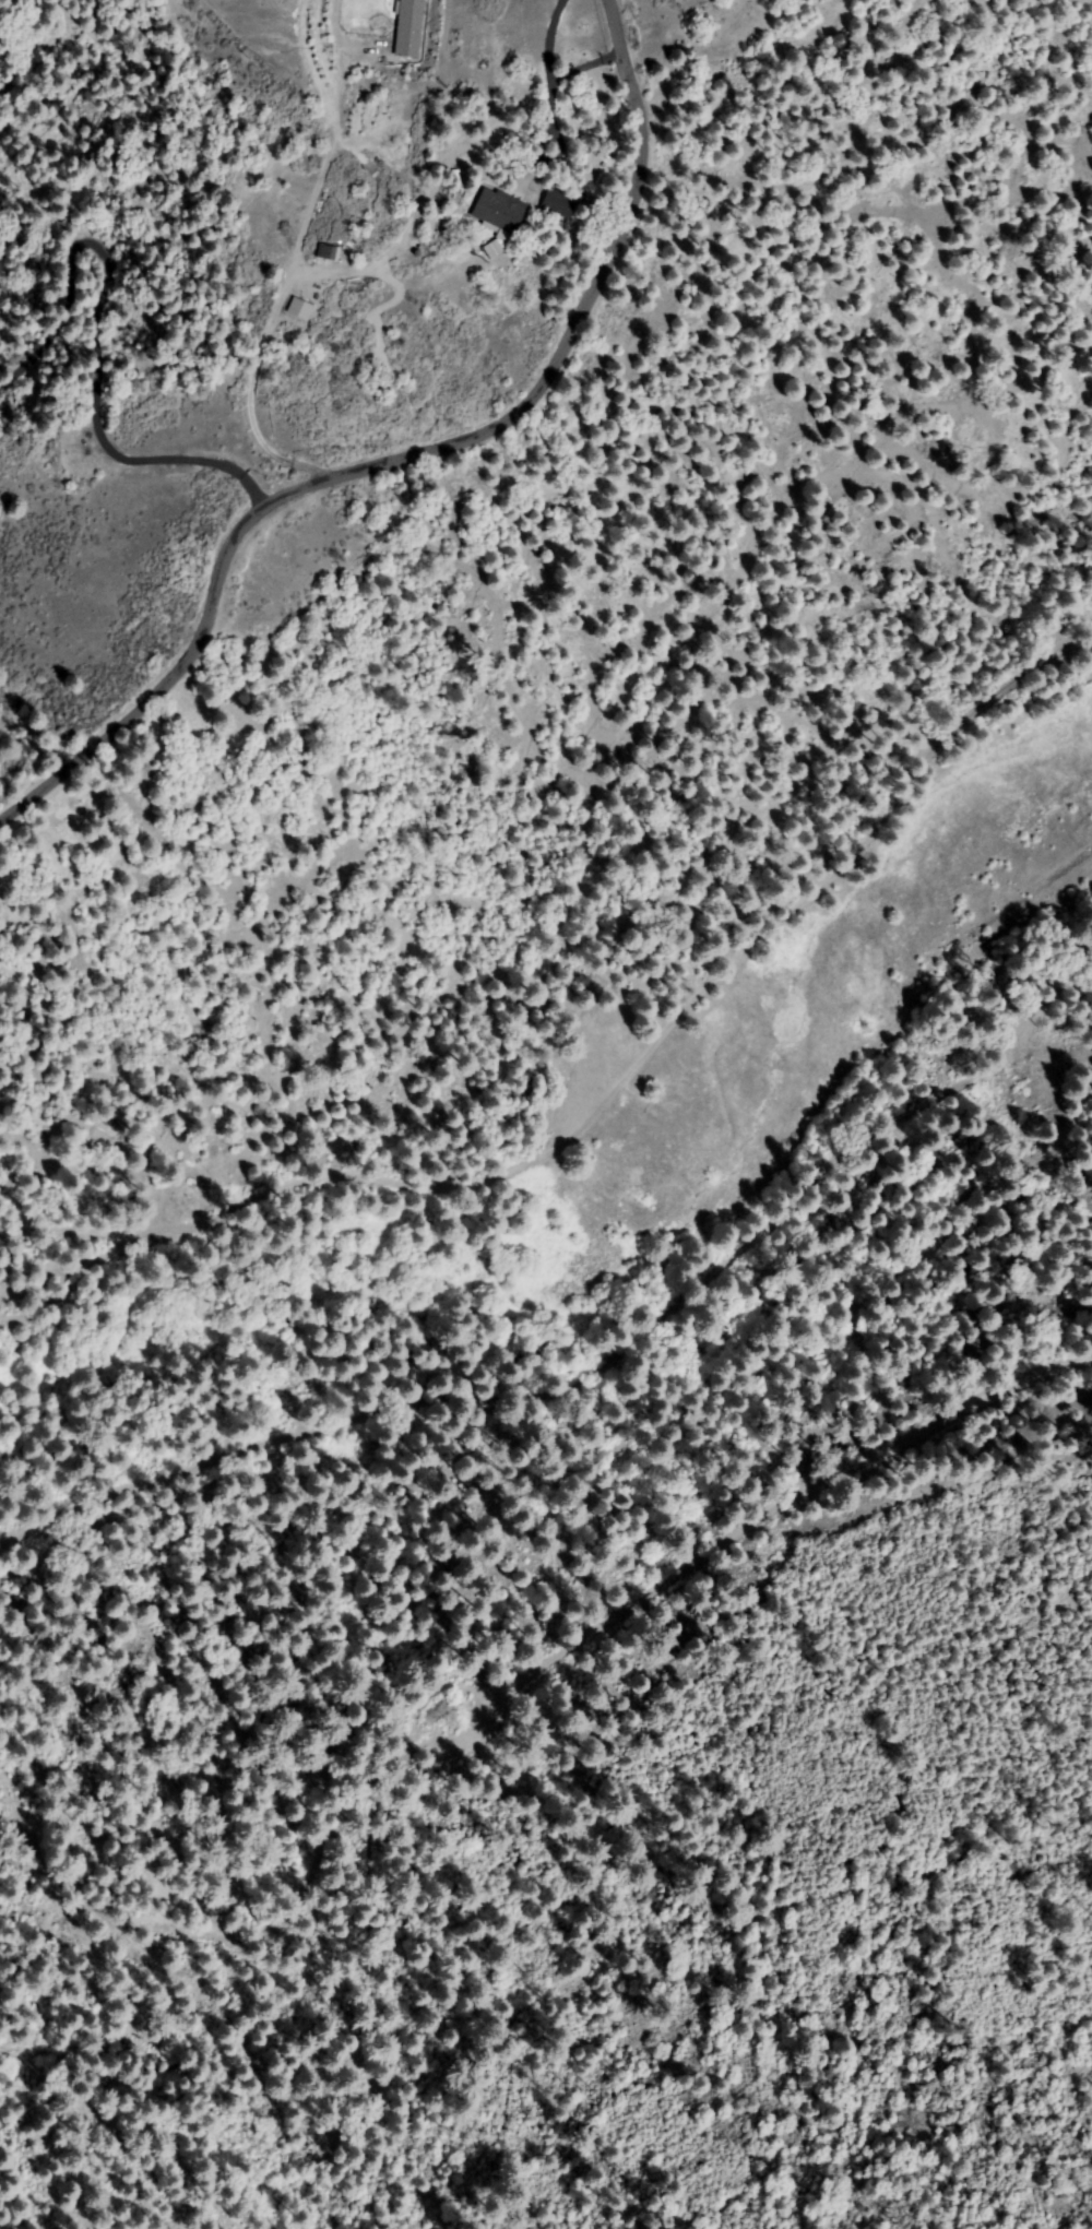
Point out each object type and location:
building: (410, 31)
building: (560, 204)
building: (500, 211)
road: (306, 382)
road: (407, 457)

